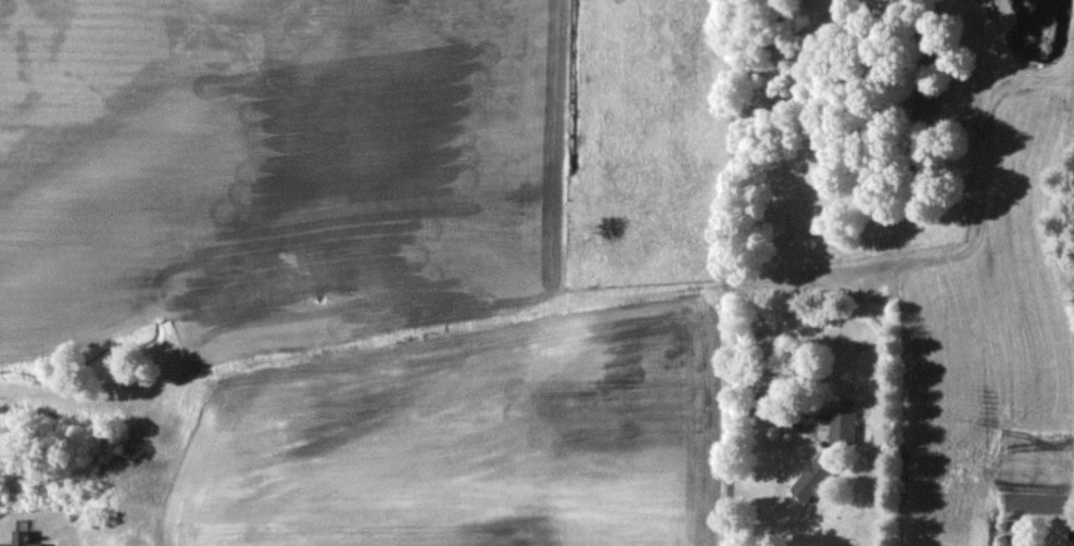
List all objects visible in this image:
building: (842, 427)
road: (730, 471)
building: (816, 475)
building: (21, 538)

